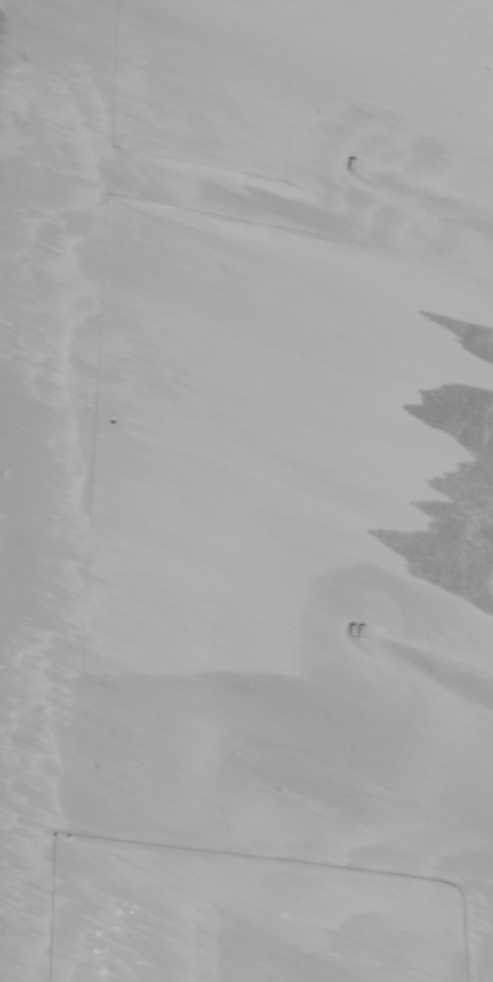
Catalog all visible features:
park: (402, 471)
park: (157, 502)

